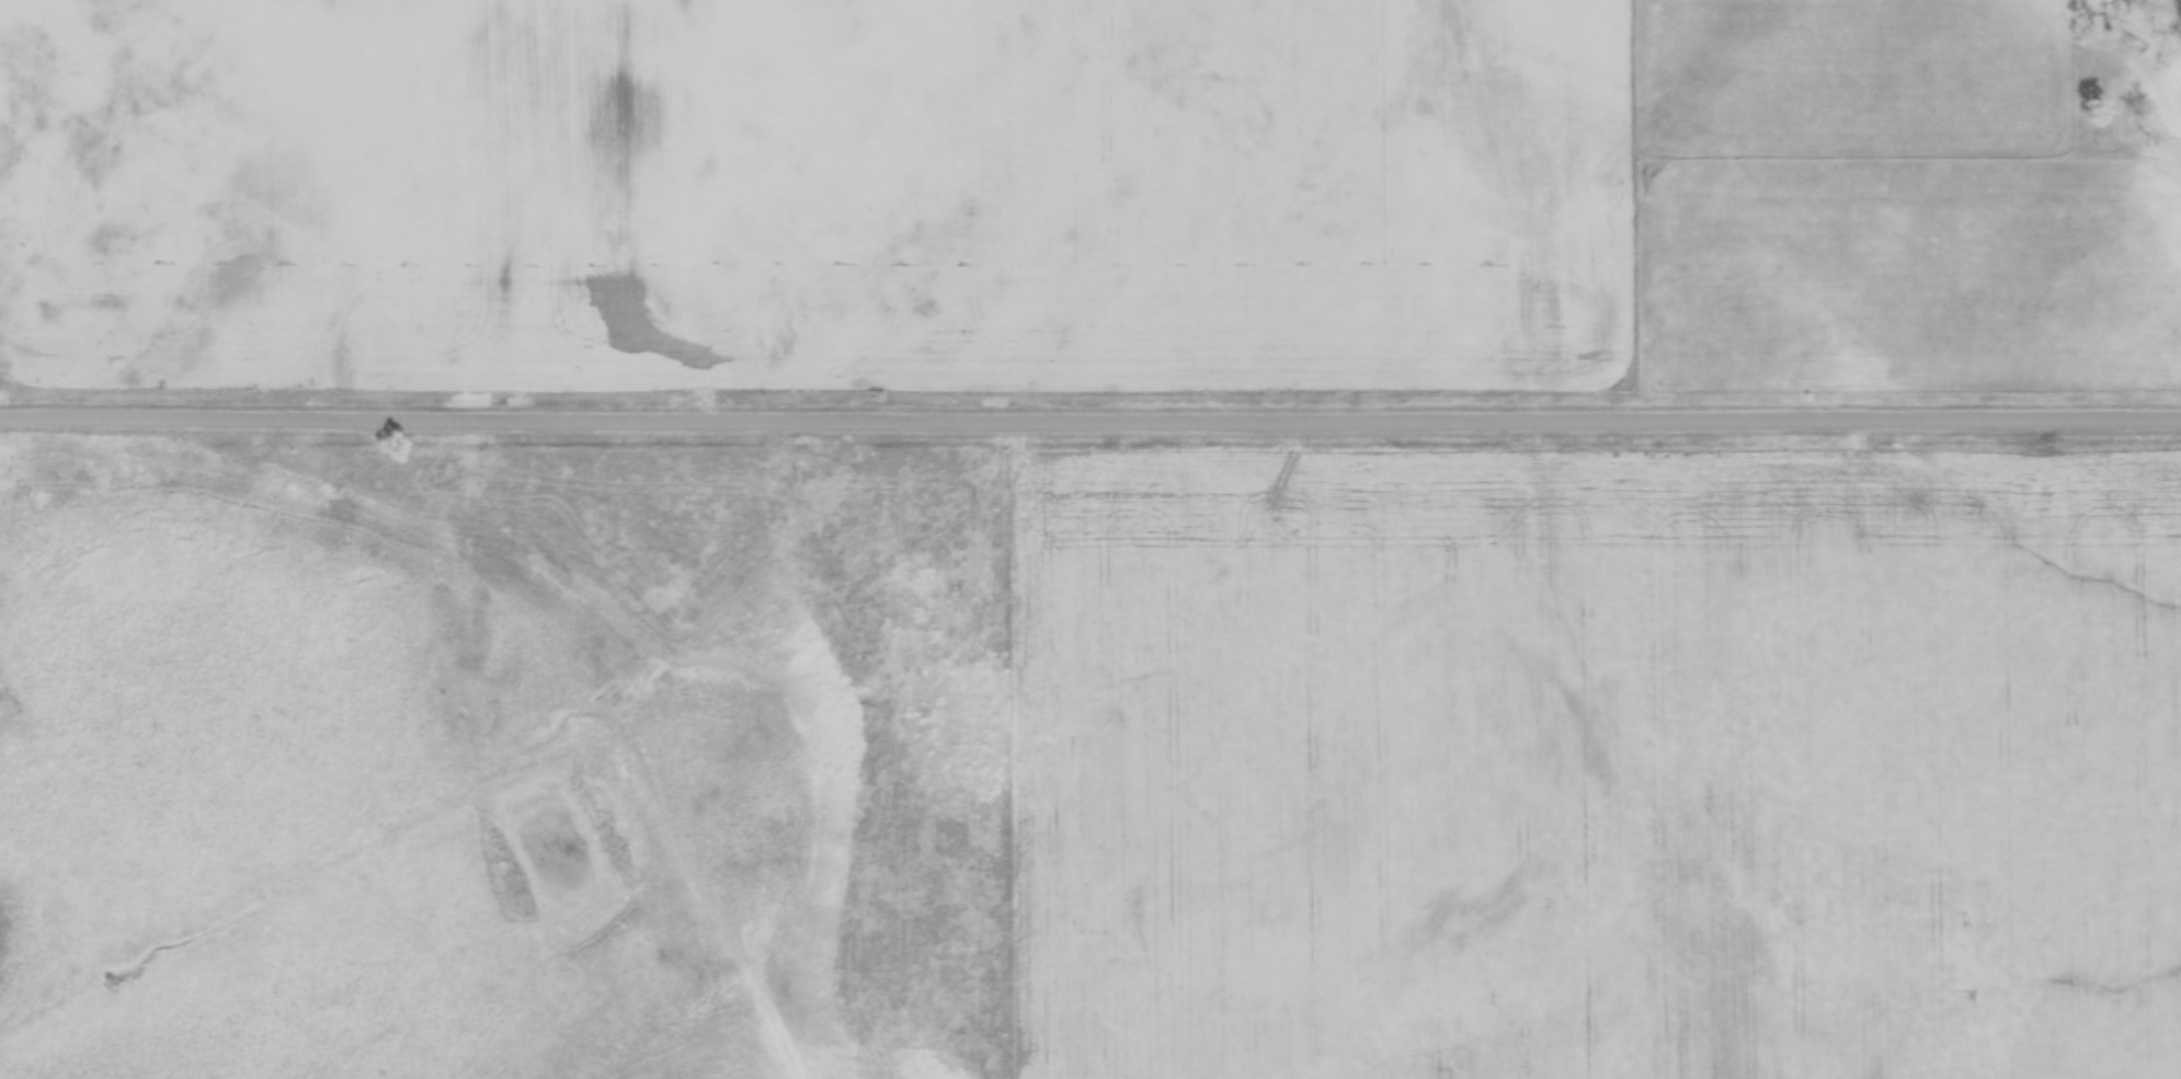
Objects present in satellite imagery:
road: (1090, 421)

